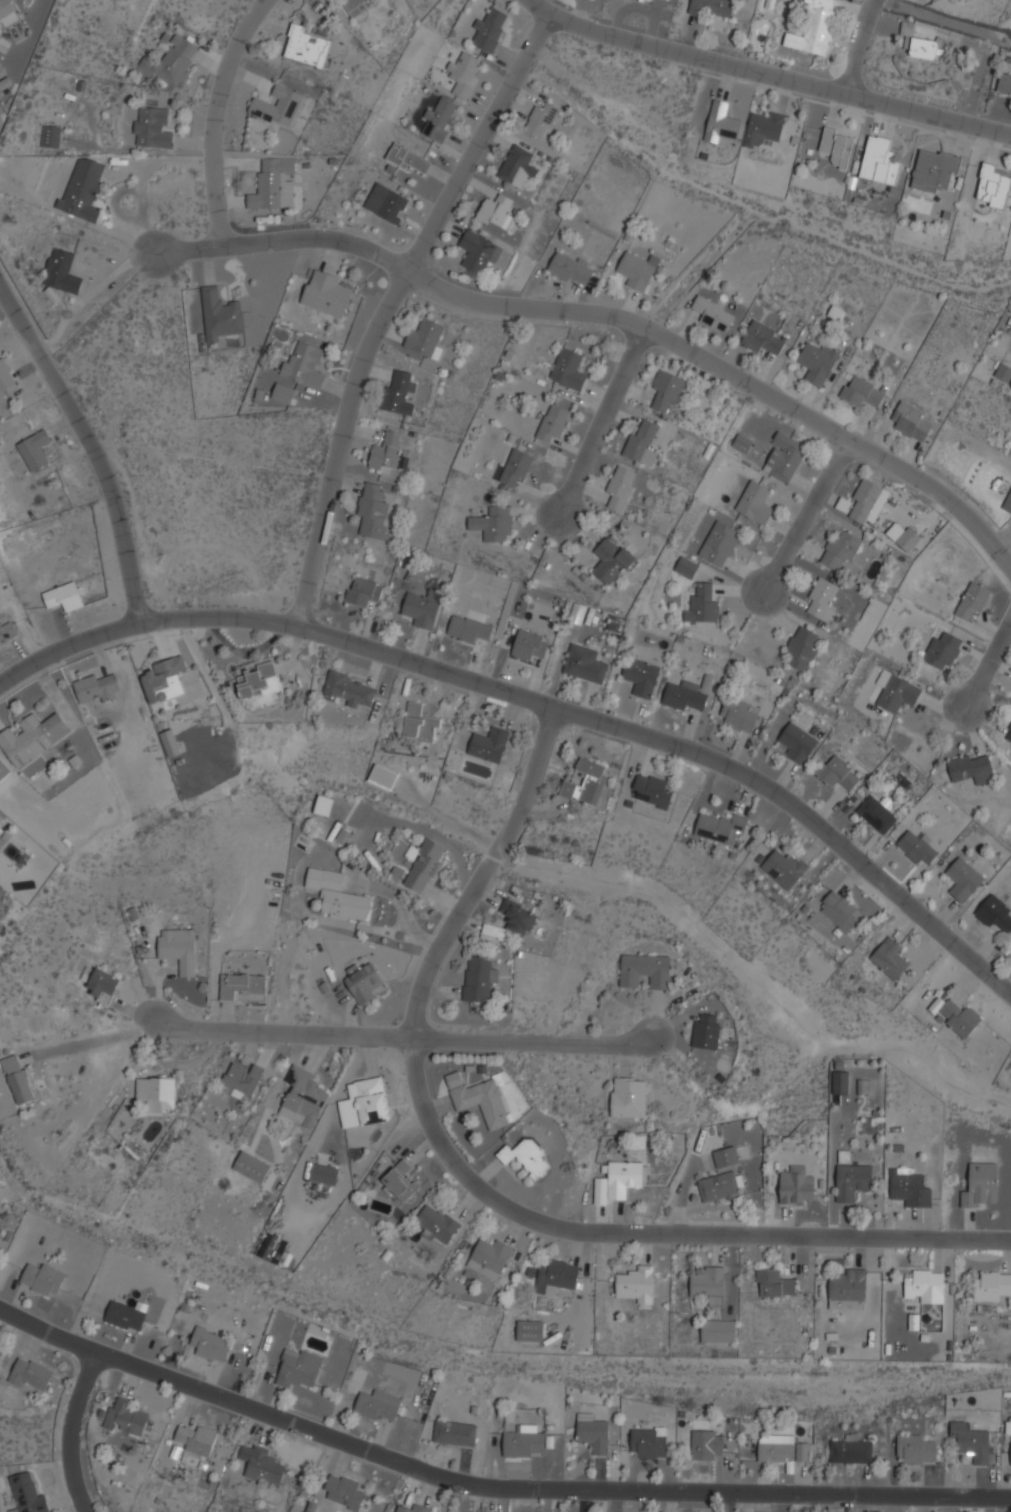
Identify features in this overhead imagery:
building: (648, 0)
building: (934, 0)
building: (355, 7)
building: (713, 7)
building: (7, 8)
building: (814, 28)
building: (490, 29)
building: (921, 43)
building: (306, 44)
road: (858, 47)
building: (172, 61)
building: (463, 74)
road: (767, 74)
building: (1004, 84)
building: (279, 107)
road: (216, 116)
building: (439, 119)
building: (541, 119)
building: (721, 122)
building: (153, 128)
building: (763, 128)
building: (51, 135)
building: (836, 147)
building: (409, 159)
building: (879, 161)
building: (517, 167)
building: (933, 170)
building: (274, 185)
building: (993, 185)
building: (84, 188)
building: (387, 203)
building: (495, 211)
building: (512, 238)
road: (186, 251)
building: (478, 252)
building: (570, 269)
building: (638, 270)
building: (62, 272)
road: (91, 292)
building: (327, 293)
road: (388, 308)
building: (221, 314)
building: (713, 314)
road: (632, 323)
building: (425, 337)
building: (762, 337)
building: (818, 362)
building: (304, 364)
building: (569, 370)
building: (1003, 372)
building: (5, 375)
building: (668, 389)
building: (862, 392)
building: (397, 393)
building: (283, 394)
road: (600, 421)
building: (911, 421)
building: (553, 424)
road: (94, 442)
building: (642, 442)
building: (741, 442)
building: (35, 449)
building: (387, 452)
building: (783, 457)
building: (517, 469)
building: (620, 487)
building: (863, 500)
building: (755, 502)
building: (1007, 503)
building: (373, 508)
road: (806, 516)
building: (493, 524)
building: (908, 539)
building: (718, 543)
building: (840, 549)
building: (610, 561)
road: (1003, 561)
building: (686, 567)
building: (363, 591)
building: (63, 596)
building: (821, 599)
building: (973, 600)
building: (703, 605)
building: (423, 608)
building: (468, 629)
building: (7, 631)
building: (529, 645)
building: (801, 647)
building: (942, 648)
road: (988, 661)
building: (584, 664)
building: (641, 677)
building: (164, 679)
building: (258, 681)
building: (98, 688)
building: (350, 690)
building: (896, 692)
building: (688, 694)
road: (537, 702)
building: (739, 715)
building: (420, 724)
building: (1009, 735)
building: (32, 737)
building: (170, 742)
building: (797, 742)
building: (489, 744)
building: (972, 768)
building: (837, 772)
building: (383, 776)
building: (587, 783)
building: (651, 791)
building: (324, 805)
building: (876, 814)
building: (2, 820)
building: (720, 827)
building: (1, 829)
building: (916, 848)
building: (425, 866)
building: (784, 868)
building: (962, 879)
building: (337, 896)
building: (837, 910)
road: (404, 912)
building: (994, 913)
building: (517, 917)
building: (179, 948)
building: (889, 957)
building: (644, 970)
building: (479, 978)
building: (103, 982)
building: (363, 982)
building: (241, 984)
building: (936, 1005)
building: (960, 1018)
building: (706, 1031)
road: (280, 1032)
road: (96, 1039)
road: (531, 1040)
building: (18, 1079)
building: (242, 1080)
building: (840, 1082)
building: (156, 1092)
building: (303, 1097)
building: (629, 1099)
building: (484, 1101)
building: (365, 1103)
building: (730, 1155)
building: (527, 1158)
building: (251, 1167)
building: (324, 1173)
building: (402, 1180)
building: (619, 1181)
building: (852, 1181)
building: (718, 1186)
building: (981, 1186)
building: (909, 1189)
building: (796, 1190)
road: (482, 1191)
building: (436, 1224)
building: (490, 1258)
building: (556, 1277)
building: (42, 1278)
building: (637, 1283)
building: (774, 1284)
building: (709, 1285)
building: (925, 1286)
building: (992, 1286)
building: (848, 1289)
building: (125, 1316)
building: (530, 1330)
building: (717, 1331)
building: (210, 1344)
building: (298, 1369)
building: (31, 1375)
building: (379, 1405)
building: (125, 1418)
road: (69, 1431)
building: (455, 1433)
building: (592, 1433)
building: (195, 1439)
building: (971, 1441)
building: (524, 1442)
building: (649, 1442)
building: (707, 1445)
building: (780, 1448)
building: (915, 1449)
building: (851, 1450)
building: (1010, 1463)
building: (263, 1466)
road: (489, 1483)
building: (343, 1492)
building: (27, 1494)
building: (415, 1508)

